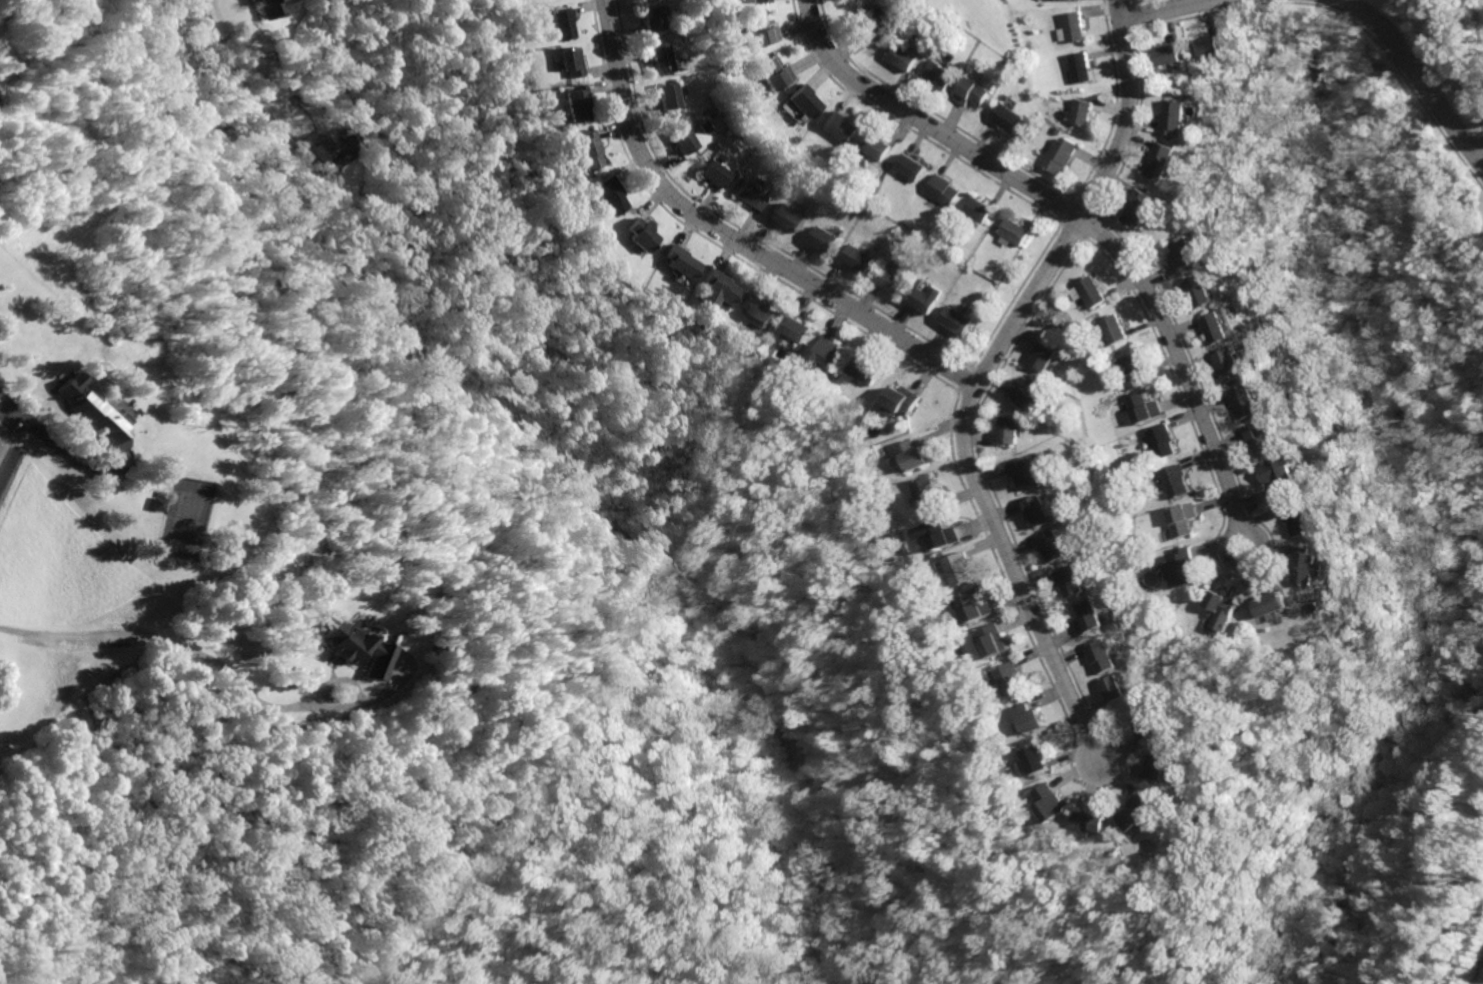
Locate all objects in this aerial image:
building: (760, 1)
building: (269, 7)
road: (1170, 10)
building: (657, 16)
building: (563, 24)
building: (871, 26)
building: (1072, 27)
building: (761, 30)
building: (1212, 44)
building: (1172, 55)
building: (903, 56)
building: (666, 57)
building: (573, 59)
road: (226, 60)
building: (1081, 66)
building: (775, 73)
building: (939, 75)
road: (1472, 79)
road: (1417, 81)
building: (973, 91)
building: (671, 95)
building: (806, 101)
building: (578, 104)
building: (1082, 112)
building: (1010, 117)
building: (1176, 117)
building: (841, 127)
building: (685, 140)
building: (329, 143)
road: (286, 146)
building: (875, 147)
building: (589, 149)
building: (1060, 154)
building: (1163, 161)
building: (909, 167)
building: (717, 172)
building: (944, 190)
building: (610, 195)
building: (753, 196)
road: (1087, 203)
building: (1140, 209)
building: (980, 210)
road: (1072, 216)
building: (788, 217)
building: (1018, 232)
building: (643, 236)
building: (823, 238)
road: (732, 239)
building: (1187, 254)
building: (855, 257)
building: (682, 261)
building: (888, 281)
building: (1093, 288)
building: (719, 291)
building: (1203, 291)
building: (926, 299)
building: (759, 307)
building: (957, 318)
building: (1221, 327)
building: (1115, 328)
building: (795, 329)
building: (827, 354)
building: (1047, 357)
building: (1236, 363)
building: (1133, 367)
building: (862, 370)
building: (1030, 394)
building: (902, 400)
building: (1251, 401)
building: (1142, 407)
building: (90, 411)
building: (1010, 432)
building: (1267, 440)
building: (1162, 441)
road: (61, 452)
building: (913, 455)
building: (1286, 473)
building: (1023, 474)
building: (1176, 482)
building: (927, 496)
building: (155, 503)
building: (1037, 512)
building: (1183, 520)
building: (1303, 520)
park: (183, 521)
building: (941, 536)
building: (1051, 548)
road: (1246, 563)
building: (1309, 564)
building: (1183, 566)
building: (957, 569)
road: (1015, 574)
building: (1070, 583)
building: (1273, 605)
building: (974, 608)
building: (1223, 612)
building: (1091, 619)
road: (69, 638)
building: (993, 642)
building: (358, 650)
building: (1106, 656)
building: (1010, 679)
road: (331, 685)
building: (1120, 689)
road: (276, 709)
building: (1025, 720)
building: (1149, 725)
building: (1033, 760)
building: (1162, 770)
building: (1048, 801)
building: (1137, 811)
building: (1089, 821)

